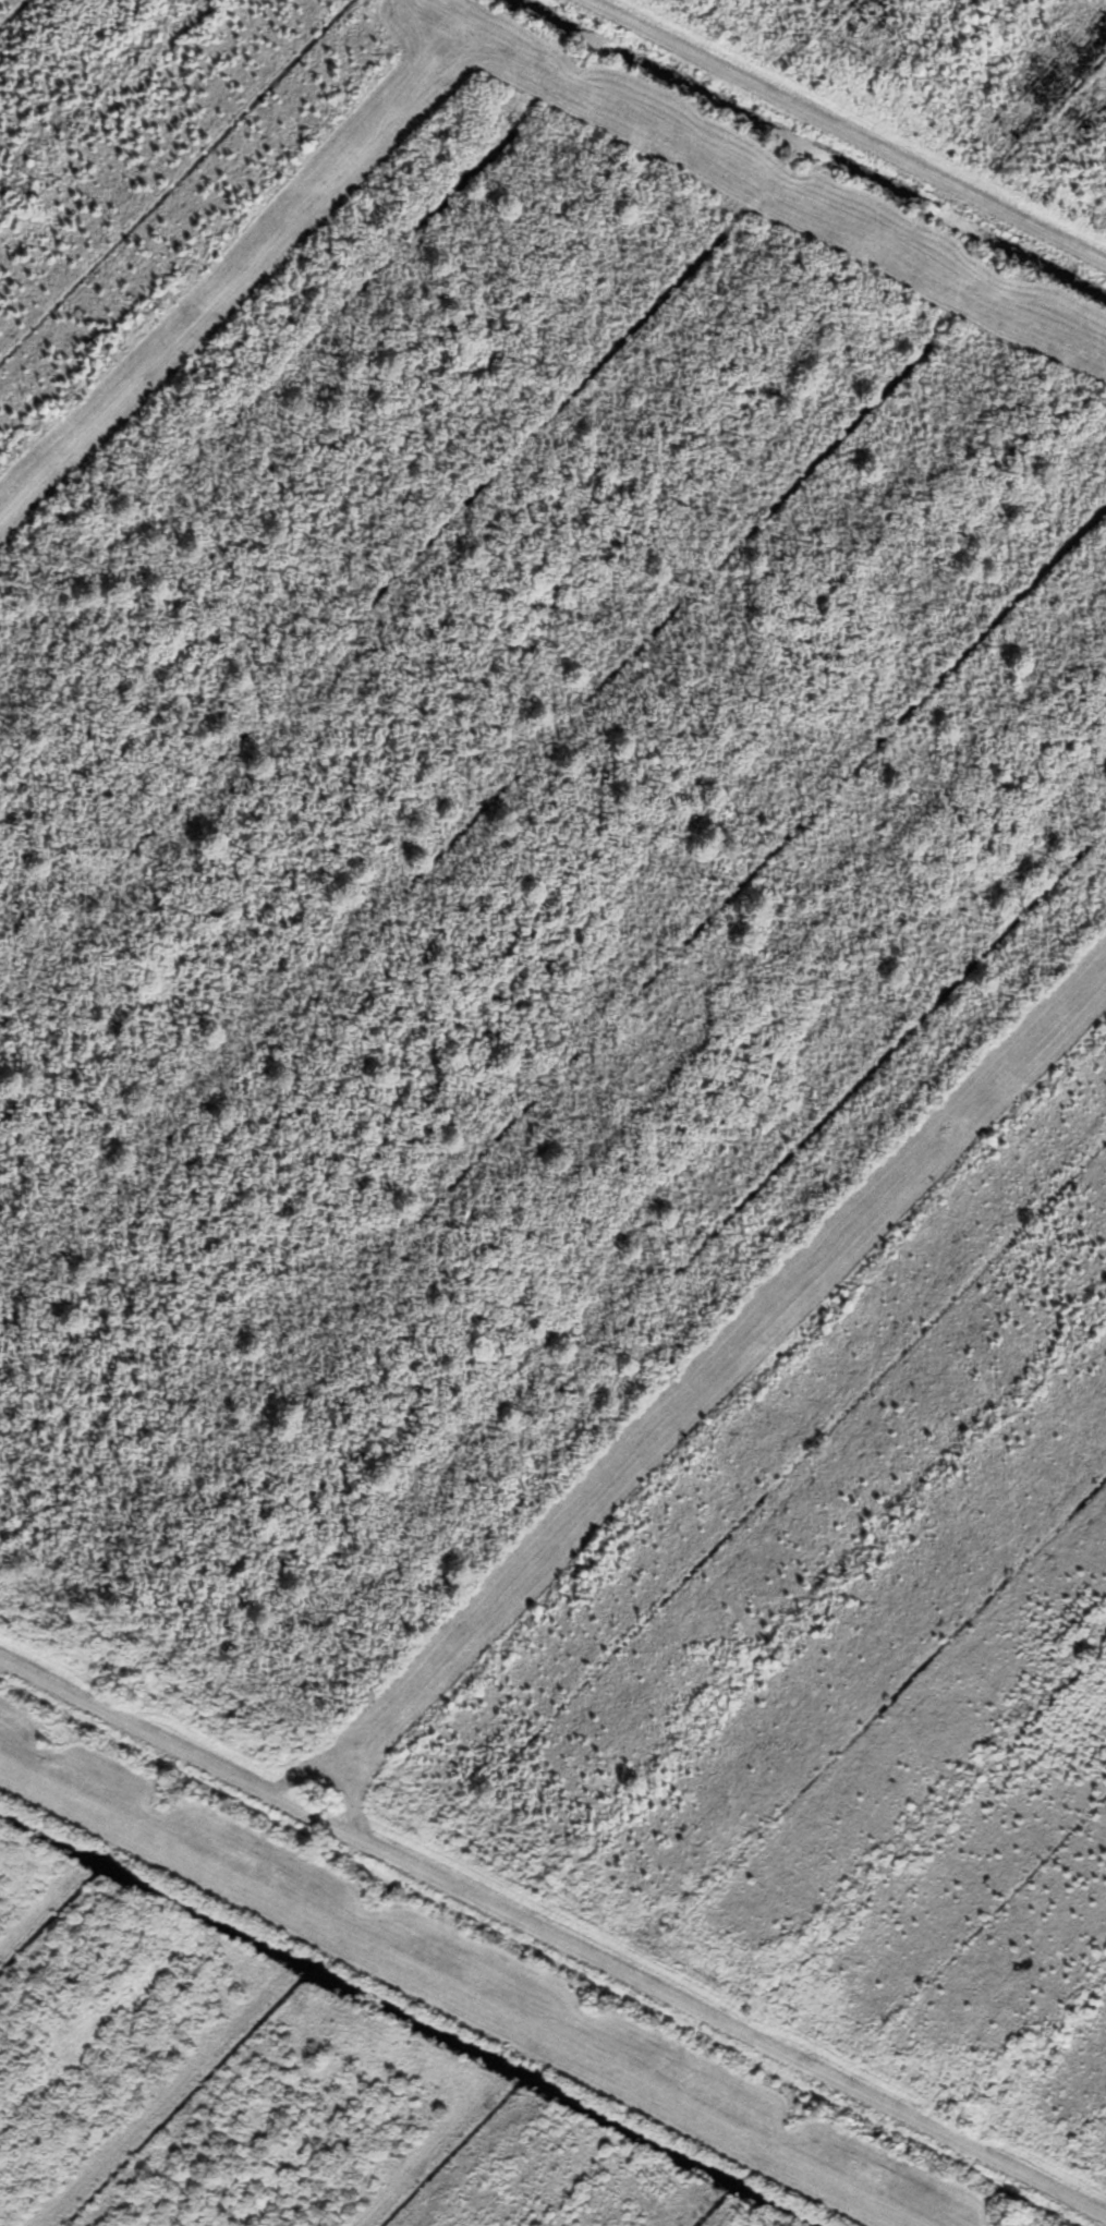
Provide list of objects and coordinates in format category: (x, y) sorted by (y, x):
road: (835, 131)
road: (551, 1934)

